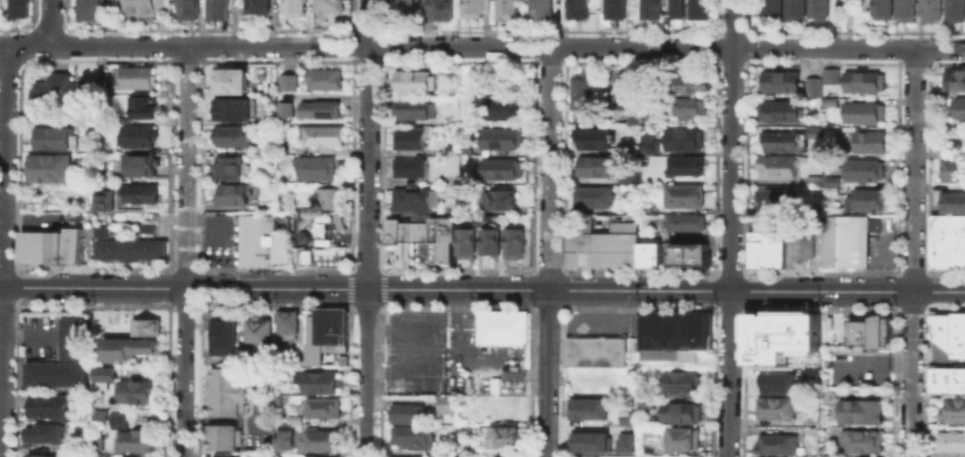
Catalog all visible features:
building: (258, 5)
building: (293, 5)
building: (327, 5)
building: (18, 7)
building: (928, 7)
building: (471, 8)
building: (539, 8)
building: (575, 8)
building: (697, 8)
building: (768, 8)
building: (815, 8)
building: (140, 9)
building: (187, 9)
building: (215, 9)
building: (401, 9)
building: (438, 9)
building: (504, 9)
building: (612, 9)
building: (648, 9)
building: (676, 9)
building: (792, 9)
building: (879, 9)
building: (91, 10)
building: (904, 10)
building: (953, 11)
road: (49, 22)
road: (731, 23)
road: (365, 45)
road: (847, 47)
building: (827, 73)
building: (134, 76)
building: (322, 77)
building: (229, 79)
building: (952, 79)
building: (777, 80)
building: (862, 80)
building: (286, 81)
building: (409, 81)
building: (688, 81)
building: (811, 85)
building: (579, 88)
building: (56, 90)
building: (621, 90)
building: (827, 101)
building: (142, 105)
building: (231, 106)
building: (687, 106)
building: (957, 106)
building: (410, 107)
building: (283, 108)
building: (318, 108)
building: (502, 109)
building: (776, 109)
building: (862, 111)
building: (631, 116)
building: (231, 133)
building: (136, 134)
building: (319, 134)
building: (592, 135)
building: (50, 137)
building: (406, 137)
building: (501, 138)
building: (682, 138)
building: (781, 139)
building: (868, 140)
building: (446, 146)
building: (645, 146)
building: (463, 147)
building: (137, 164)
building: (407, 165)
building: (592, 165)
building: (684, 165)
building: (225, 166)
building: (312, 166)
building: (774, 166)
building: (48, 167)
building: (501, 168)
building: (952, 168)
building: (861, 169)
building: (811, 180)
building: (828, 184)
building: (680, 192)
building: (138, 193)
building: (231, 193)
building: (449, 193)
building: (592, 196)
building: (325, 197)
building: (102, 198)
building: (410, 198)
building: (773, 198)
building: (864, 198)
building: (496, 199)
building: (951, 200)
building: (278, 203)
building: (646, 206)
building: (322, 216)
building: (304, 219)
building: (337, 220)
building: (684, 221)
building: (145, 227)
road: (366, 228)
building: (100, 229)
building: (422, 233)
building: (303, 236)
building: (27, 237)
building: (845, 237)
building: (618, 239)
building: (802, 239)
building: (260, 240)
building: (319, 240)
building: (337, 240)
building: (490, 240)
building: (466, 241)
building: (513, 241)
building: (942, 241)
building: (960, 241)
building: (766, 242)
building: (52, 243)
building: (73, 243)
building: (649, 245)
building: (103, 247)
building: (121, 248)
building: (138, 248)
building: (156, 248)
building: (572, 248)
building: (587, 248)
building: (602, 248)
building: (631, 248)
road: (2, 250)
road: (184, 250)
road: (548, 251)
building: (687, 252)
road: (729, 252)
road: (912, 252)
building: (35, 253)
building: (305, 255)
building: (648, 257)
road: (364, 289)
road: (847, 291)
parking lot: (600, 321)
building: (284, 323)
road: (411, 325)
building: (143, 326)
building: (501, 326)
building: (958, 326)
building: (940, 328)
building: (868, 329)
building: (257, 330)
building: (323, 332)
building: (222, 334)
building: (672, 334)
building: (70, 336)
building: (782, 337)
building: (125, 347)
building: (958, 349)
parking lot: (414, 350)
building: (593, 350)
road: (403, 355)
building: (341, 358)
parking lot: (477, 358)
road: (461, 370)
building: (52, 371)
building: (100, 372)
building: (808, 372)
building: (963, 377)
building: (939, 378)
building: (956, 378)
building: (315, 381)
building: (679, 382)
building: (774, 382)
building: (134, 389)
building: (223, 390)
road: (0, 397)
building: (444, 402)
building: (47, 405)
building: (586, 406)
building: (320, 407)
building: (773, 407)
building: (952, 409)
building: (678, 411)
building: (859, 411)
building: (406, 413)
building: (626, 416)
building: (116, 417)
building: (42, 433)
building: (503, 435)
building: (219, 436)
building: (411, 436)
building: (679, 437)
building: (321, 438)
building: (282, 439)
building: (131, 440)
building: (859, 440)
building: (587, 441)
building: (623, 441)
building: (950, 441)
building: (775, 442)
building: (41, 455)
building: (133, 455)
building: (224, 455)
building: (319, 456)
building: (404, 456)
building: (755, 456)

